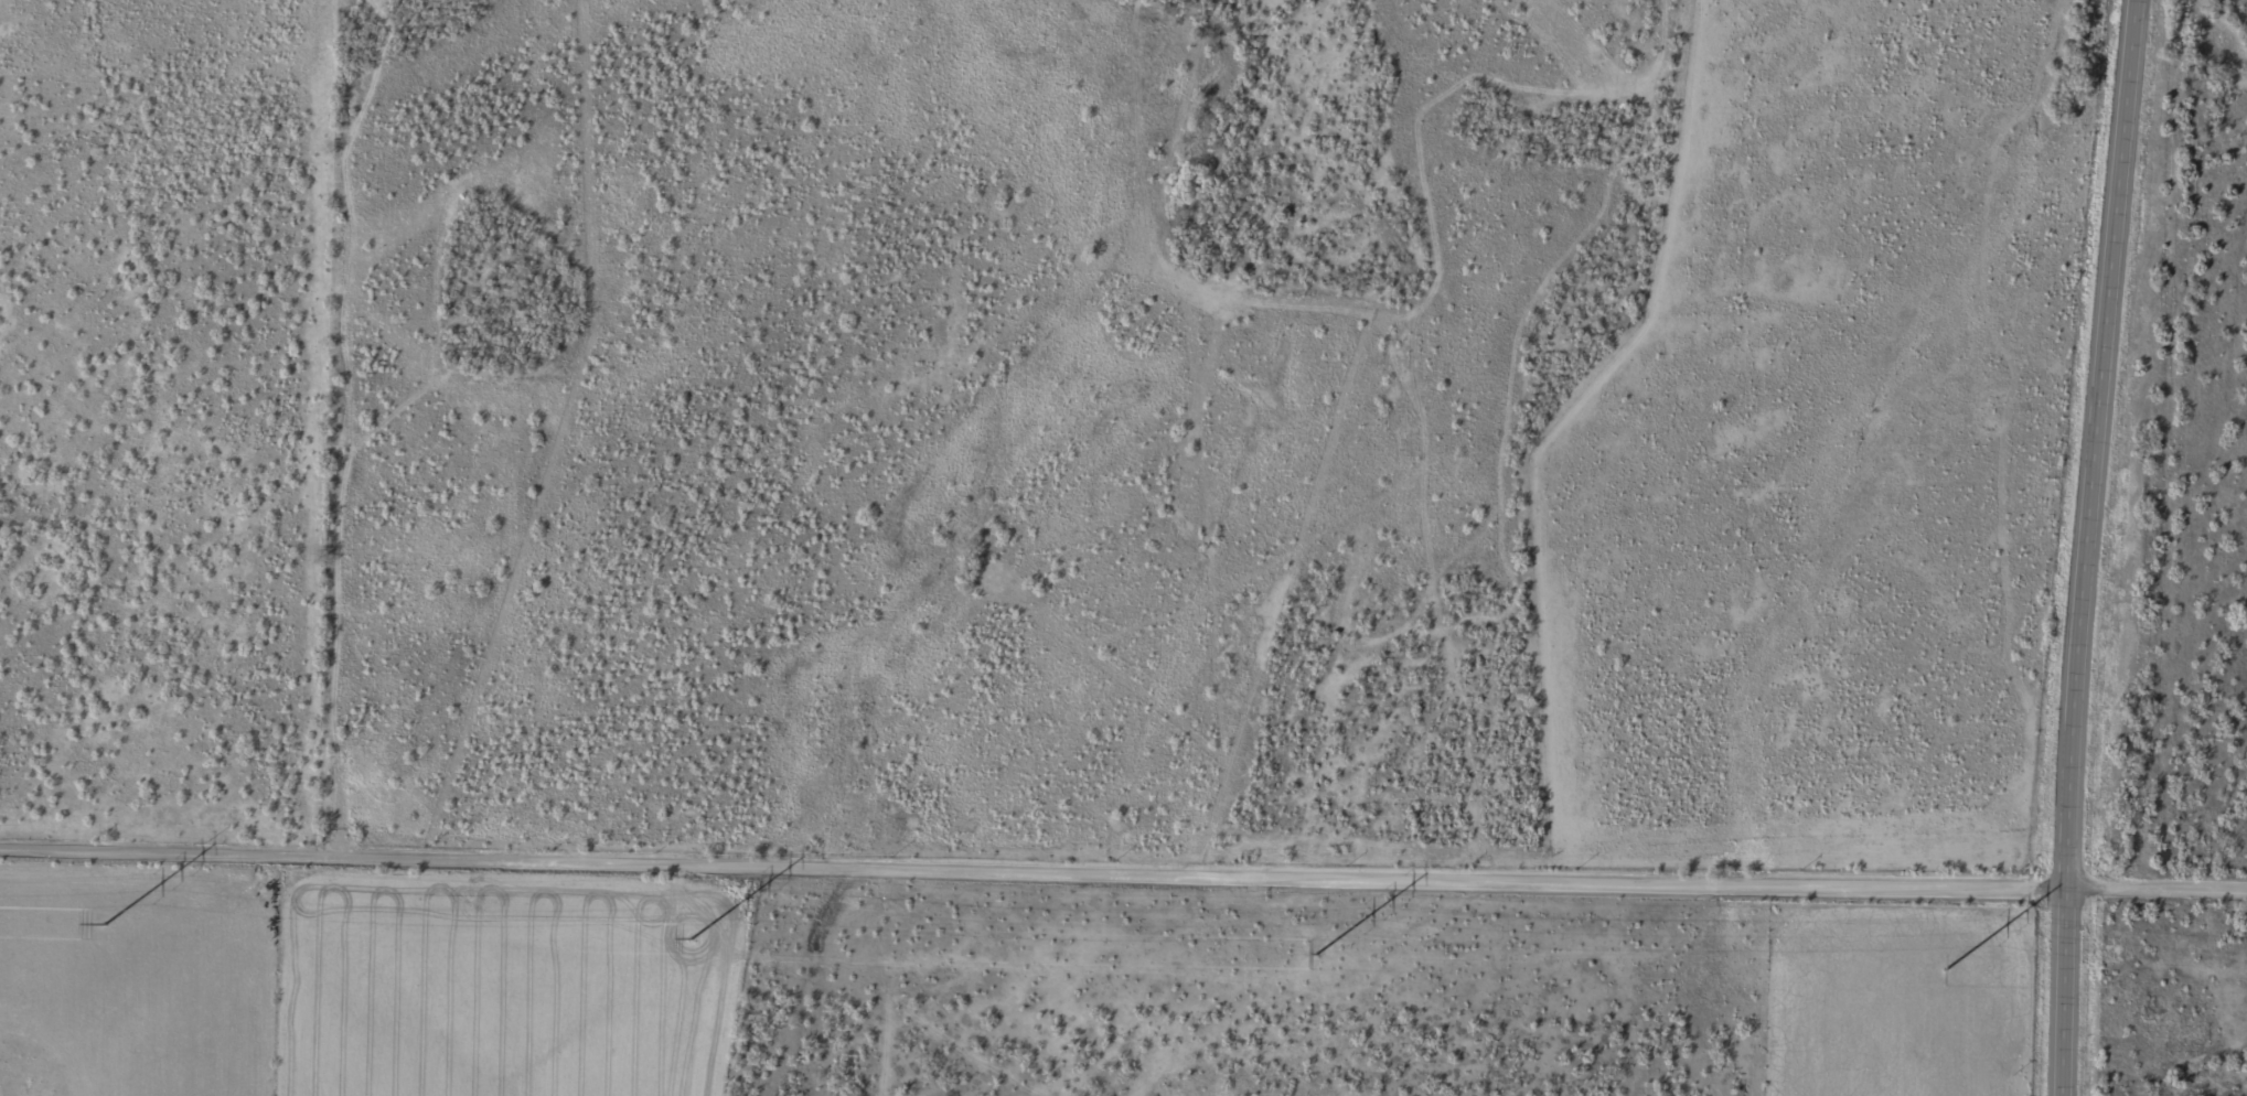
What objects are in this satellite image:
road: (2087, 547)
road: (1034, 869)
road: (2158, 884)
power tower: (106, 922)
power tower: (692, 936)
power tower: (1316, 952)
power tower: (1946, 967)

